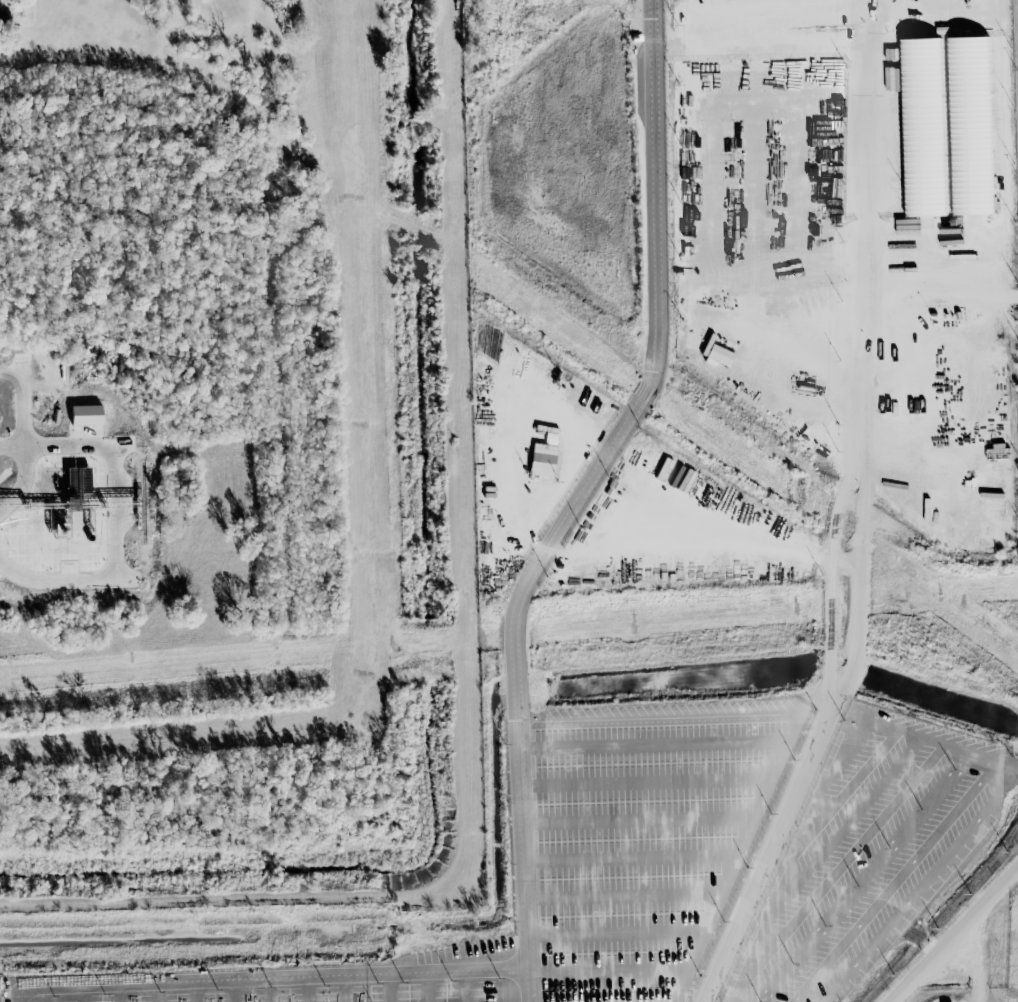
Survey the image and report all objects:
road: (295, 1)
building: (970, 126)
building: (922, 127)
road: (871, 217)
road: (653, 381)
road: (18, 411)
road: (672, 722)
road: (941, 746)
road: (782, 750)
road: (980, 759)
road: (836, 767)
road: (1006, 767)
road: (644, 784)
road: (821, 813)
road: (637, 821)
road: (522, 847)
road: (629, 860)
road: (835, 874)
road: (893, 883)
road: (924, 887)
road: (622, 897)
road: (615, 934)
road: (955, 935)
road: (608, 972)
road: (284, 977)
road: (466, 986)
road: (391, 987)
road: (430, 987)
road: (346, 988)
road: (308, 989)
road: (232, 990)
road: (270, 990)
road: (157, 991)
road: (194, 991)
road: (120, 992)
road: (46, 993)
road: (83, 993)

